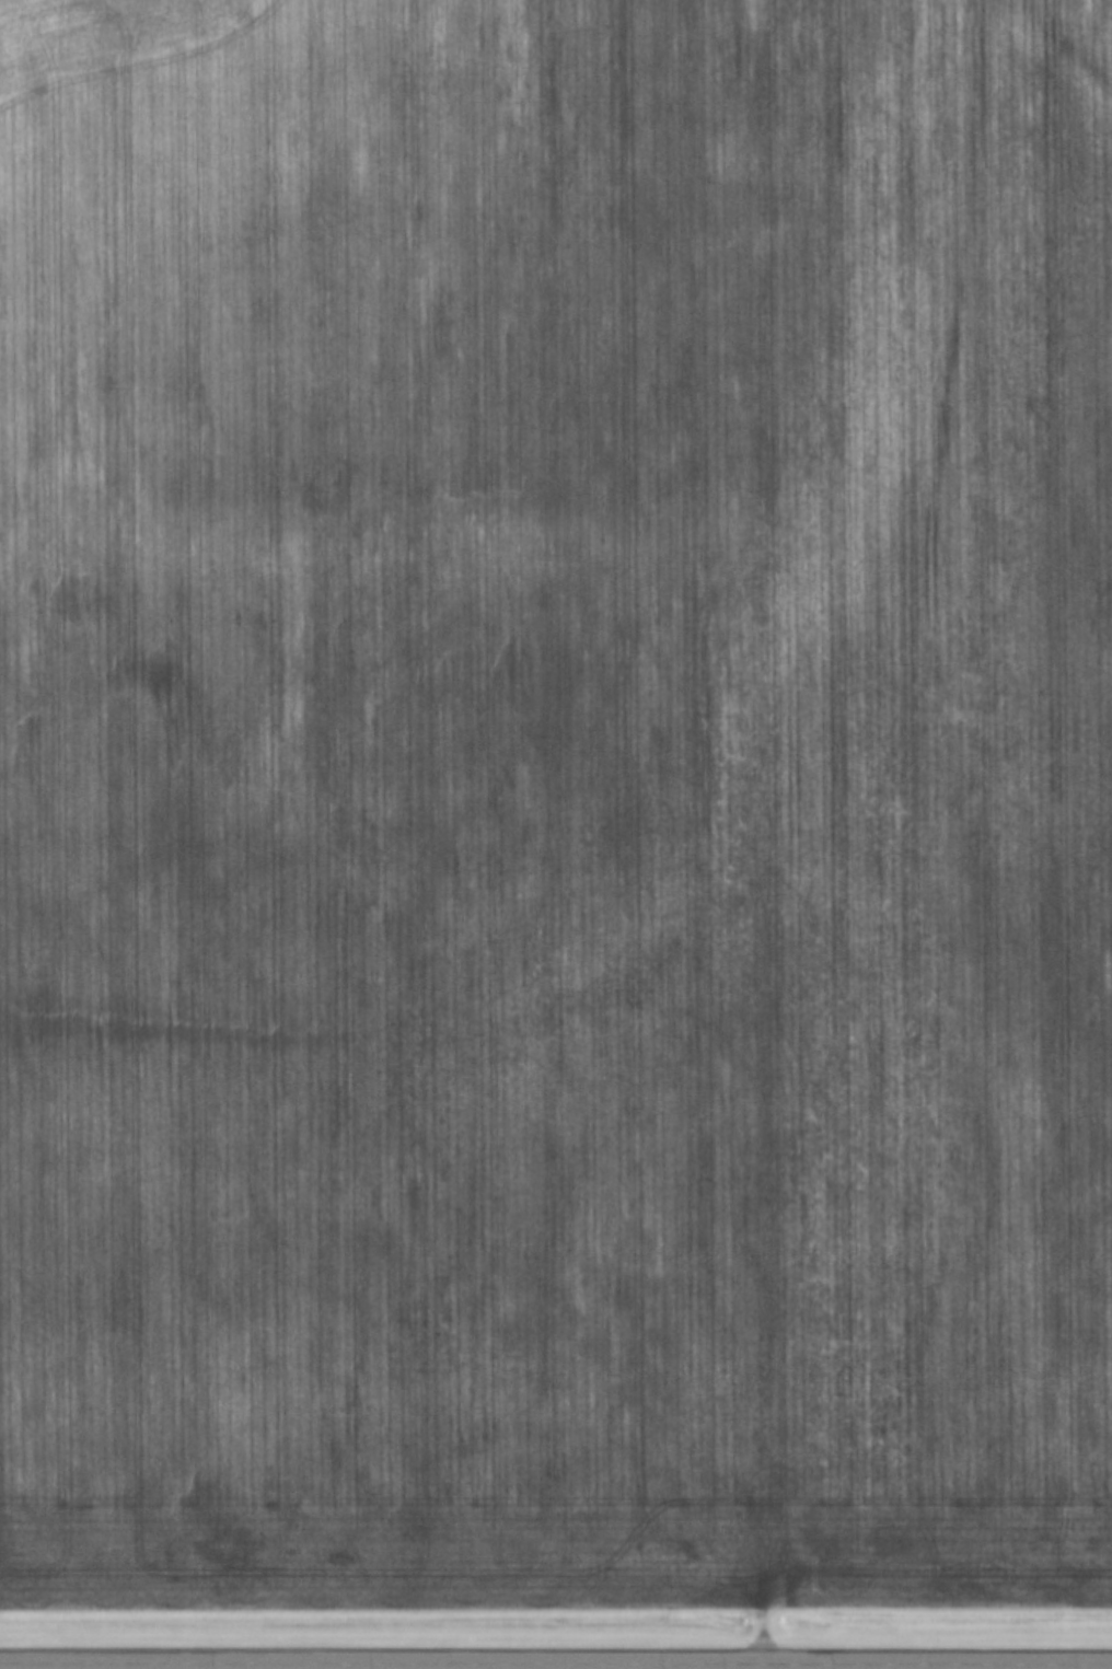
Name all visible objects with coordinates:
road: (556, 1665)

